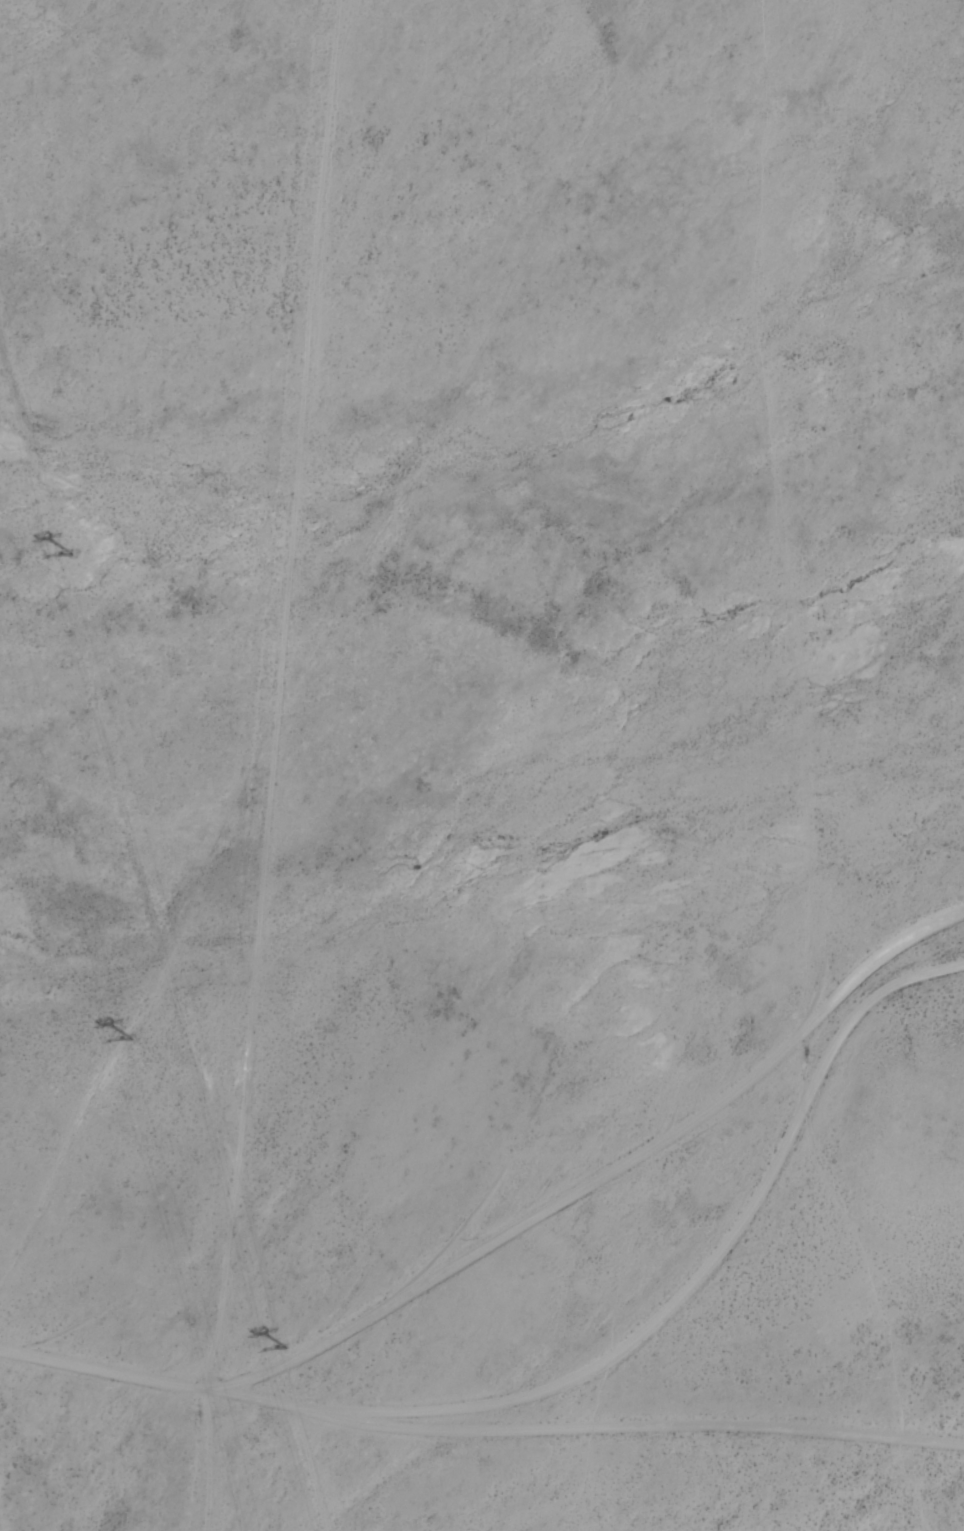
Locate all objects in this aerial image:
power tower: (75, 552)
power tower: (133, 1035)
road: (520, 1258)
power tower: (287, 1344)

